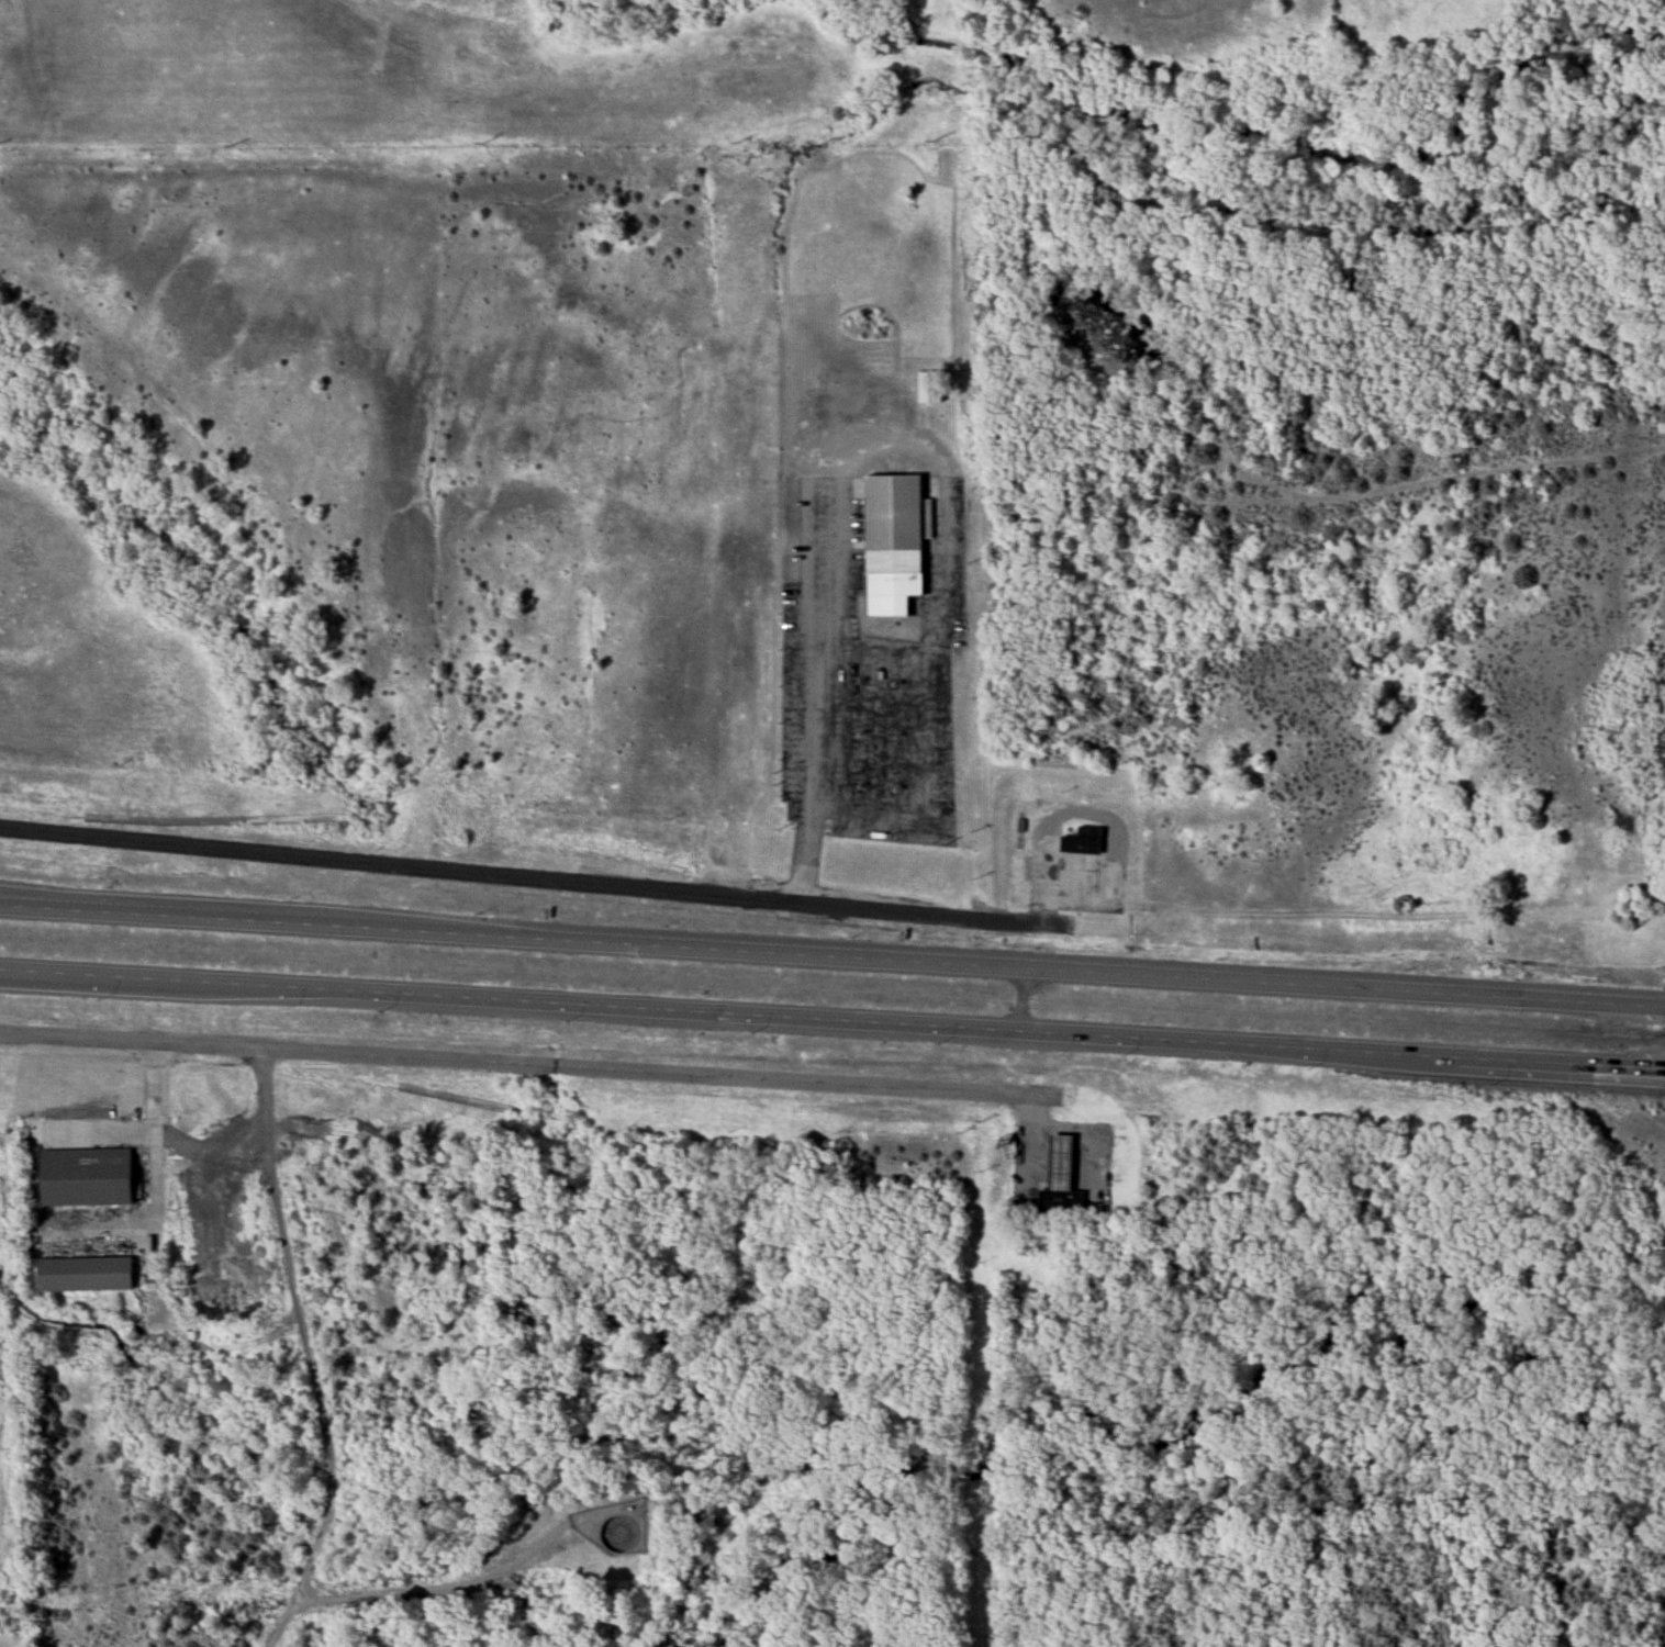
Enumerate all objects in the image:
building: (930, 388)
building: (892, 544)
road: (925, 804)
road: (1054, 825)
building: (1083, 841)
road: (804, 854)
road: (398, 870)
building: (1087, 878)
road: (930, 916)
road: (677, 948)
road: (1510, 998)
road: (653, 1007)
road: (1486, 1058)
road: (527, 1071)
road: (152, 1089)
road: (33, 1142)
road: (1031, 1143)
building: (1042, 1168)
building: (88, 1176)
building: (88, 1271)
road: (304, 1331)
road: (434, 1587)

